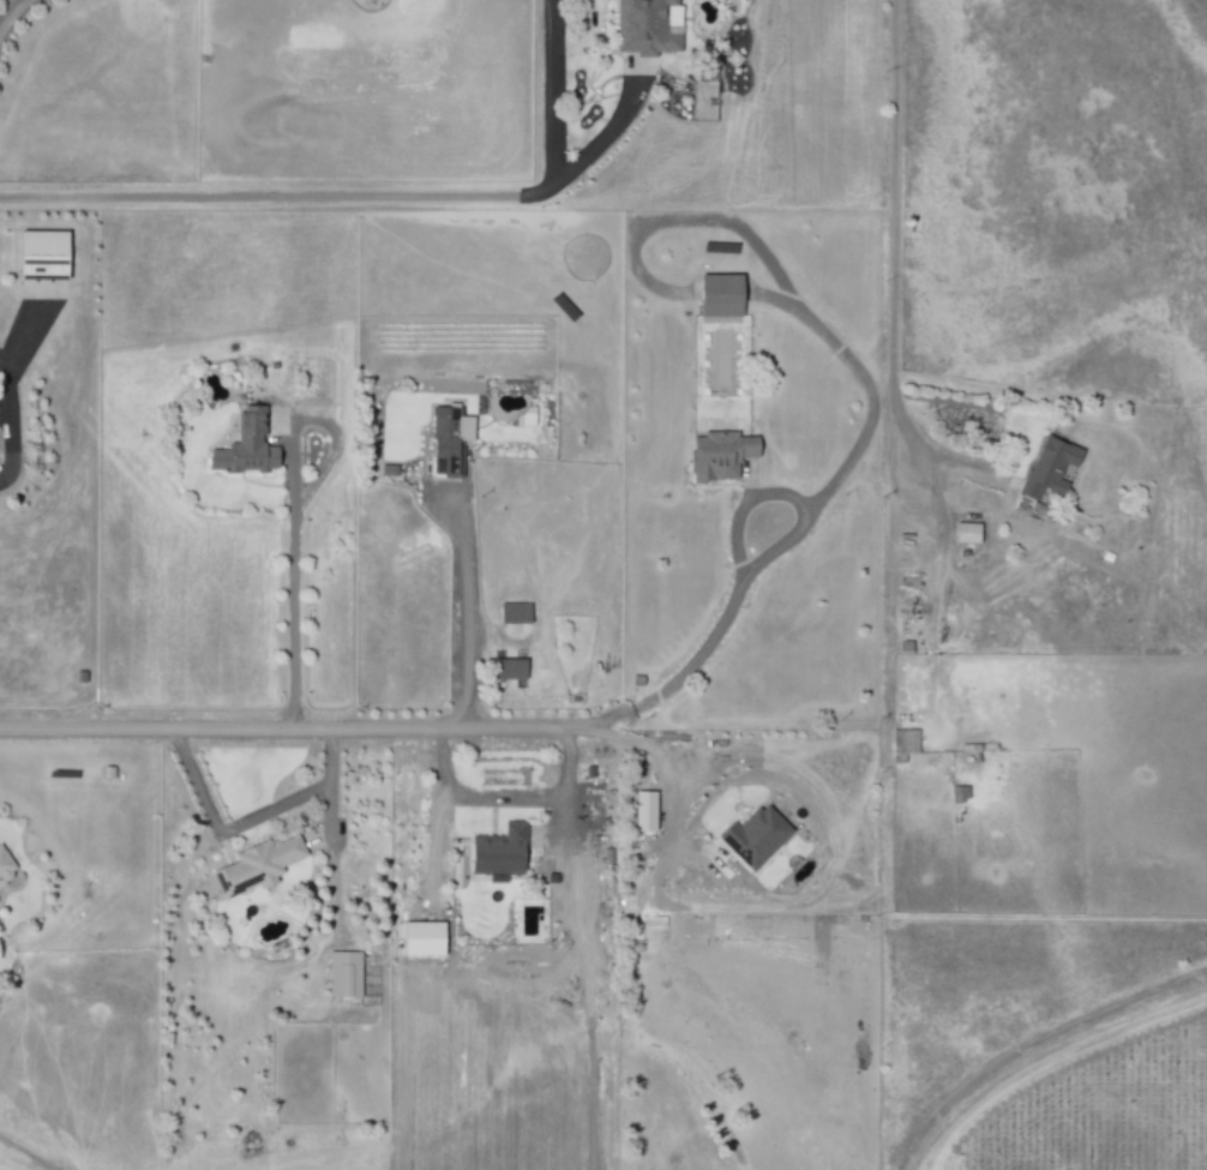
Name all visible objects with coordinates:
road: (11, 14)
building: (645, 28)
road: (335, 197)
road: (896, 198)
building: (37, 254)
building: (716, 295)
road: (812, 317)
road: (7, 419)
building: (445, 440)
building: (242, 446)
road: (932, 454)
building: (716, 455)
building: (1046, 467)
building: (965, 533)
road: (296, 604)
road: (472, 611)
building: (512, 613)
building: (506, 670)
road: (397, 727)
road: (663, 755)
road: (505, 793)
building: (642, 811)
road: (253, 822)
building: (752, 838)
building: (496, 851)
building: (5, 866)
building: (253, 866)
building: (419, 940)
building: (342, 973)

